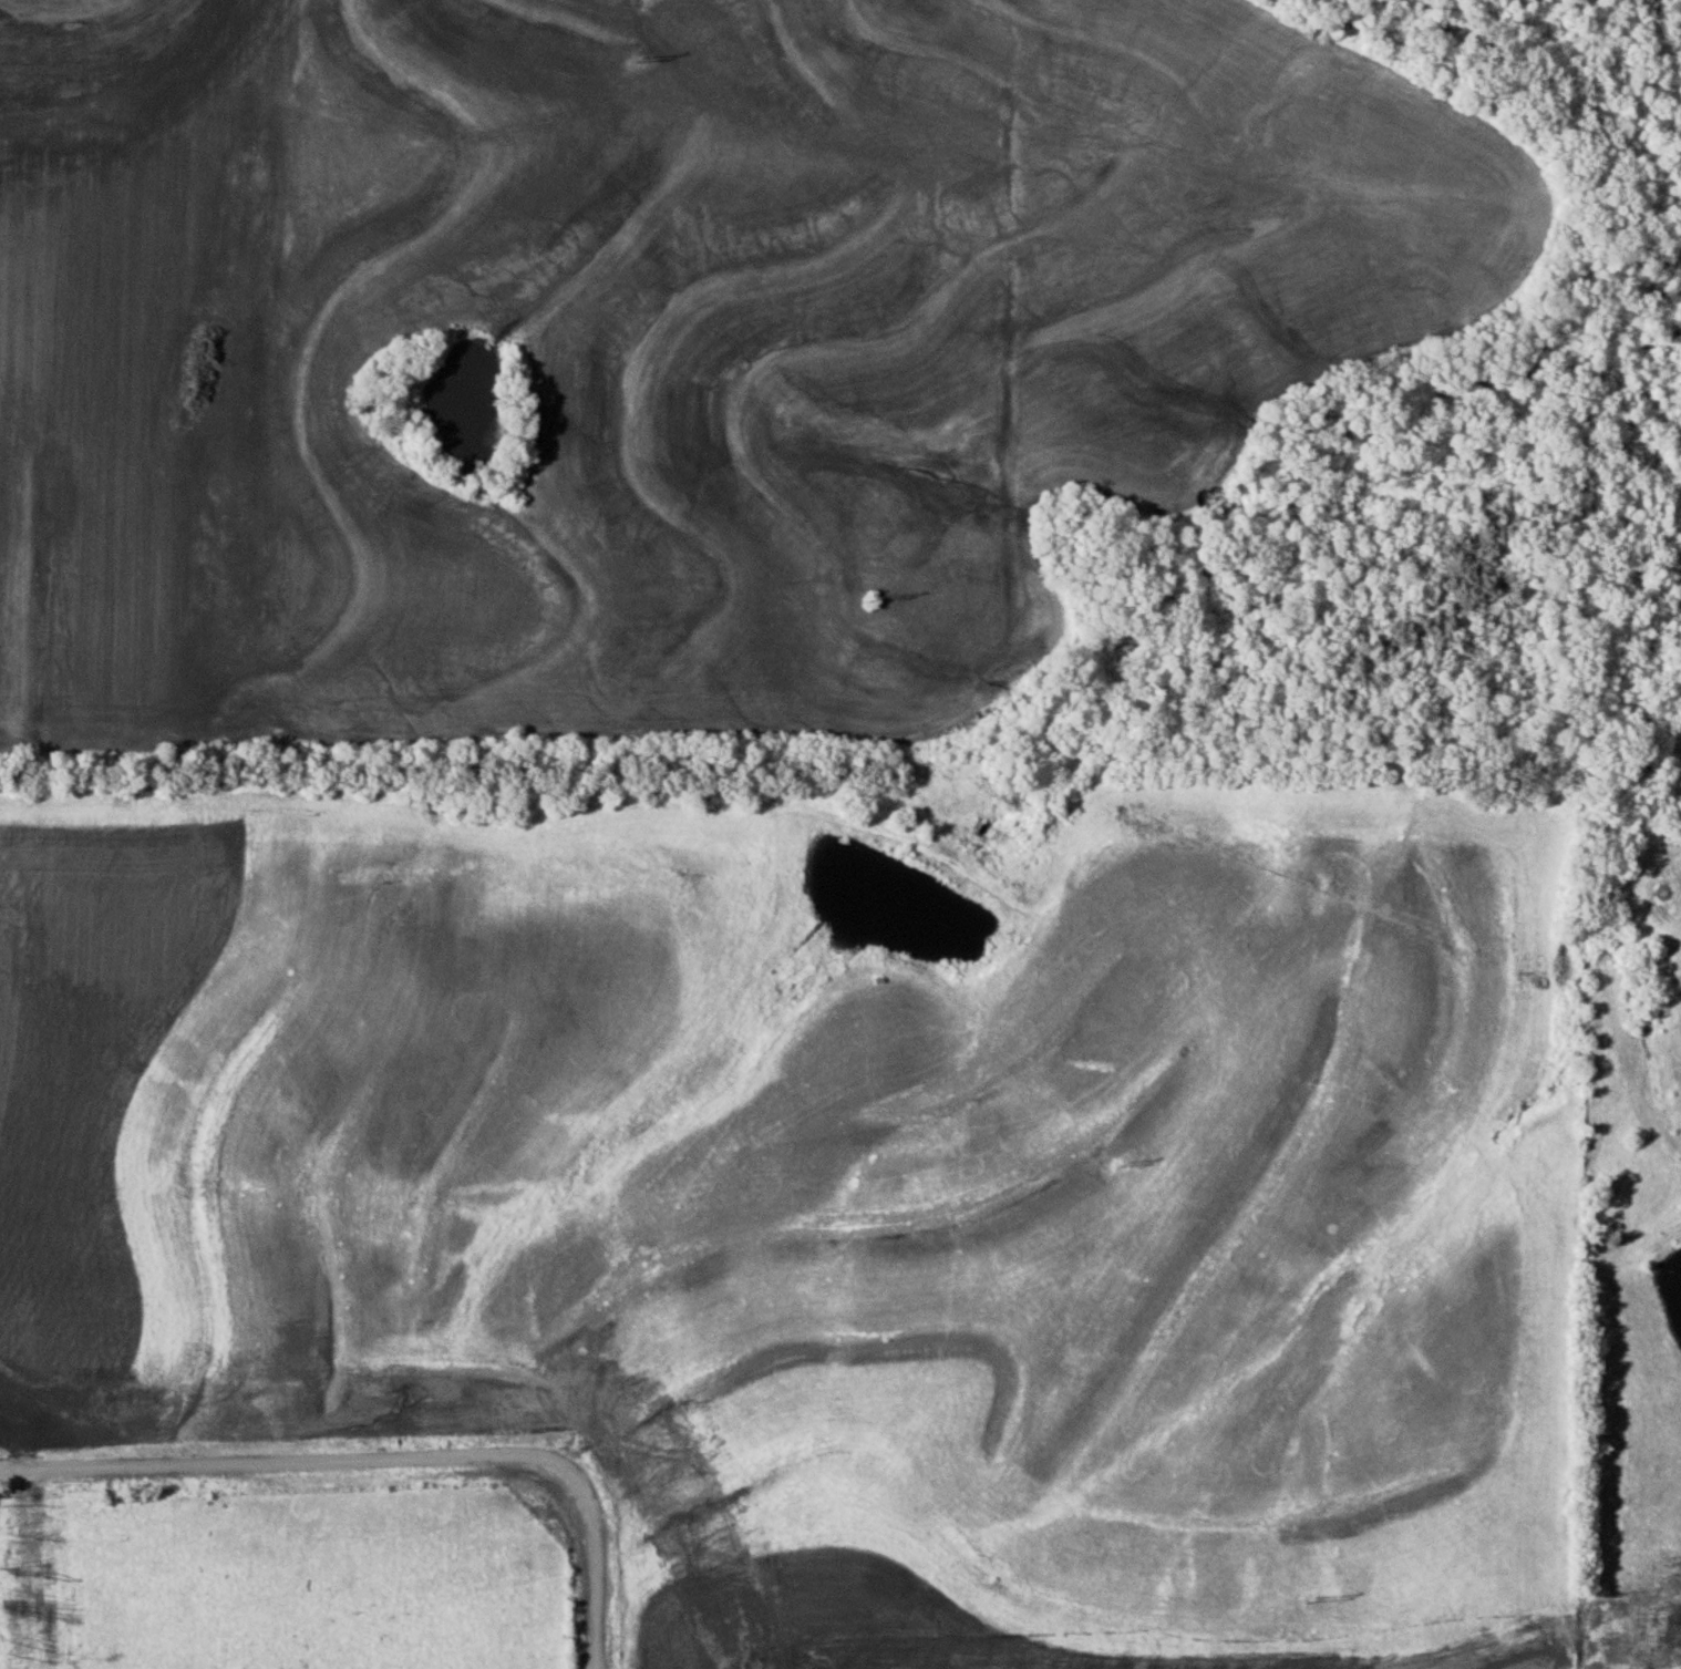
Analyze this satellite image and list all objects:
road: (388, 1460)

